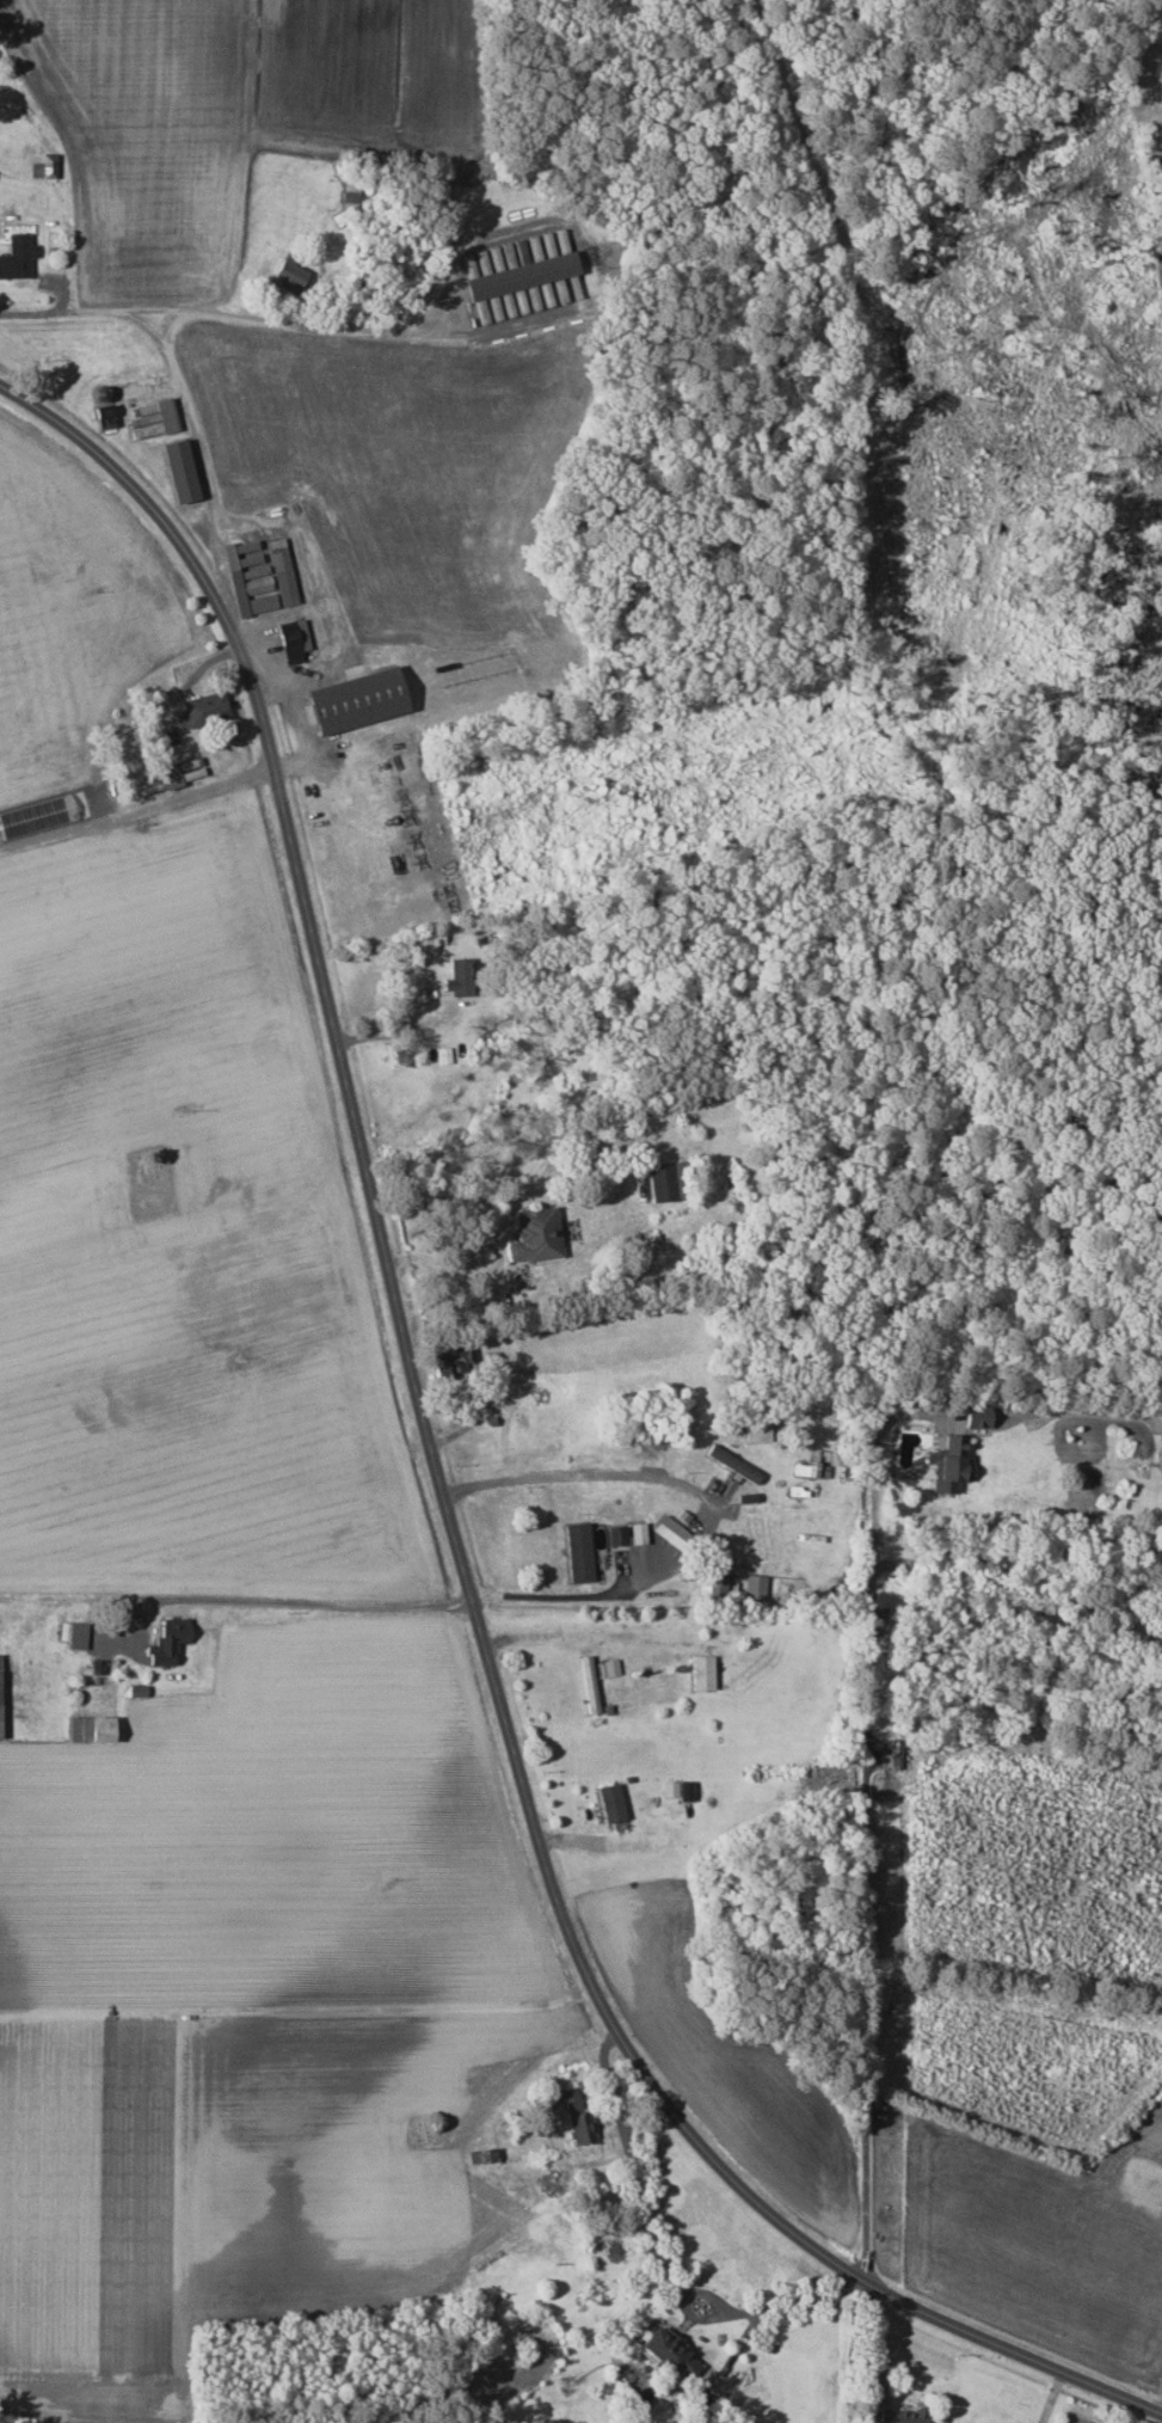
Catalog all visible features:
building: (16, 256)
building: (499, 256)
building: (288, 275)
building: (519, 276)
road: (287, 325)
road: (177, 326)
building: (102, 417)
building: (149, 419)
building: (177, 471)
road: (271, 526)
road: (216, 564)
road: (278, 612)
building: (291, 642)
building: (352, 700)
building: (203, 709)
road: (146, 808)
building: (457, 976)
road: (396, 1017)
building: (665, 1179)
building: (533, 1234)
building: (975, 1416)
building: (757, 1431)
building: (948, 1464)
road: (439, 1496)
road: (874, 1498)
road: (706, 1504)
building: (635, 1532)
building: (670, 1532)
building: (577, 1552)
building: (711, 1577)
road: (284, 1596)
road: (574, 1619)
building: (72, 1633)
building: (166, 1640)
building: (700, 1671)
building: (588, 1683)
building: (88, 1728)
building: (889, 1753)
building: (676, 1789)
building: (609, 1802)
road: (865, 1947)
building: (576, 2117)
road: (632, 2170)
road: (787, 2305)
building: (665, 2354)
building: (898, 2416)

